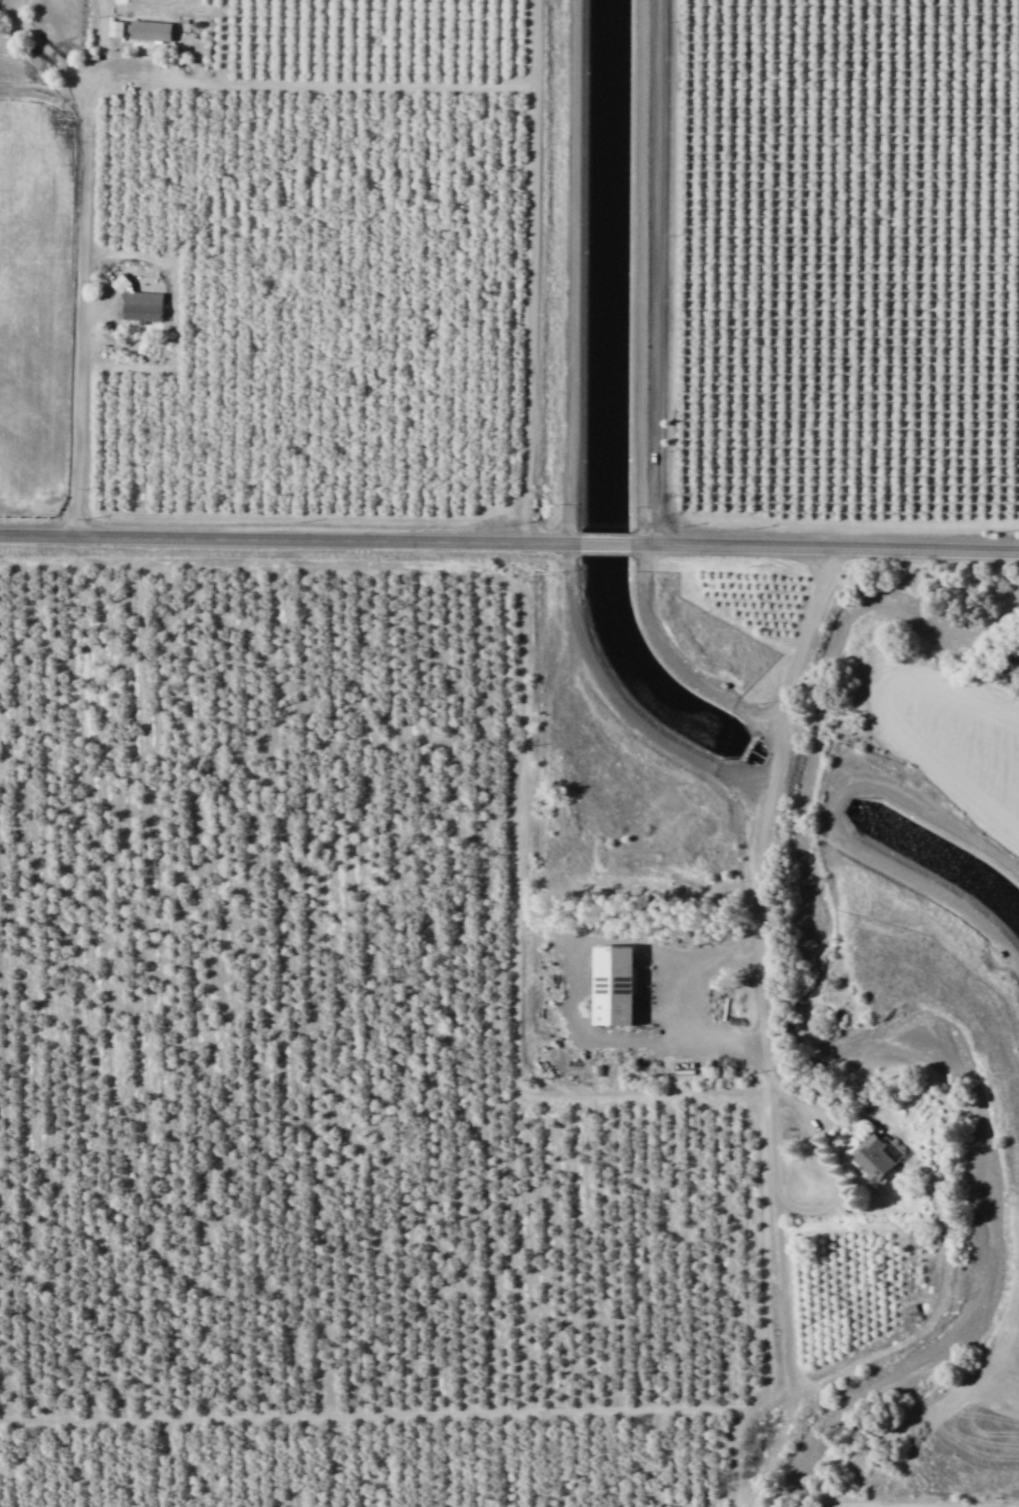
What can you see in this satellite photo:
building: (114, 28)
building: (149, 30)
road: (309, 84)
road: (84, 253)
road: (531, 270)
road: (655, 271)
road: (640, 272)
crop: (34, 297)
building: (137, 303)
road: (289, 534)
road: (603, 542)
road: (823, 546)
road: (760, 968)
building: (612, 985)
road: (674, 1001)
building: (875, 1156)
road: (500, 1412)
road: (773, 1448)
road: (734, 1452)
road: (865, 1505)

